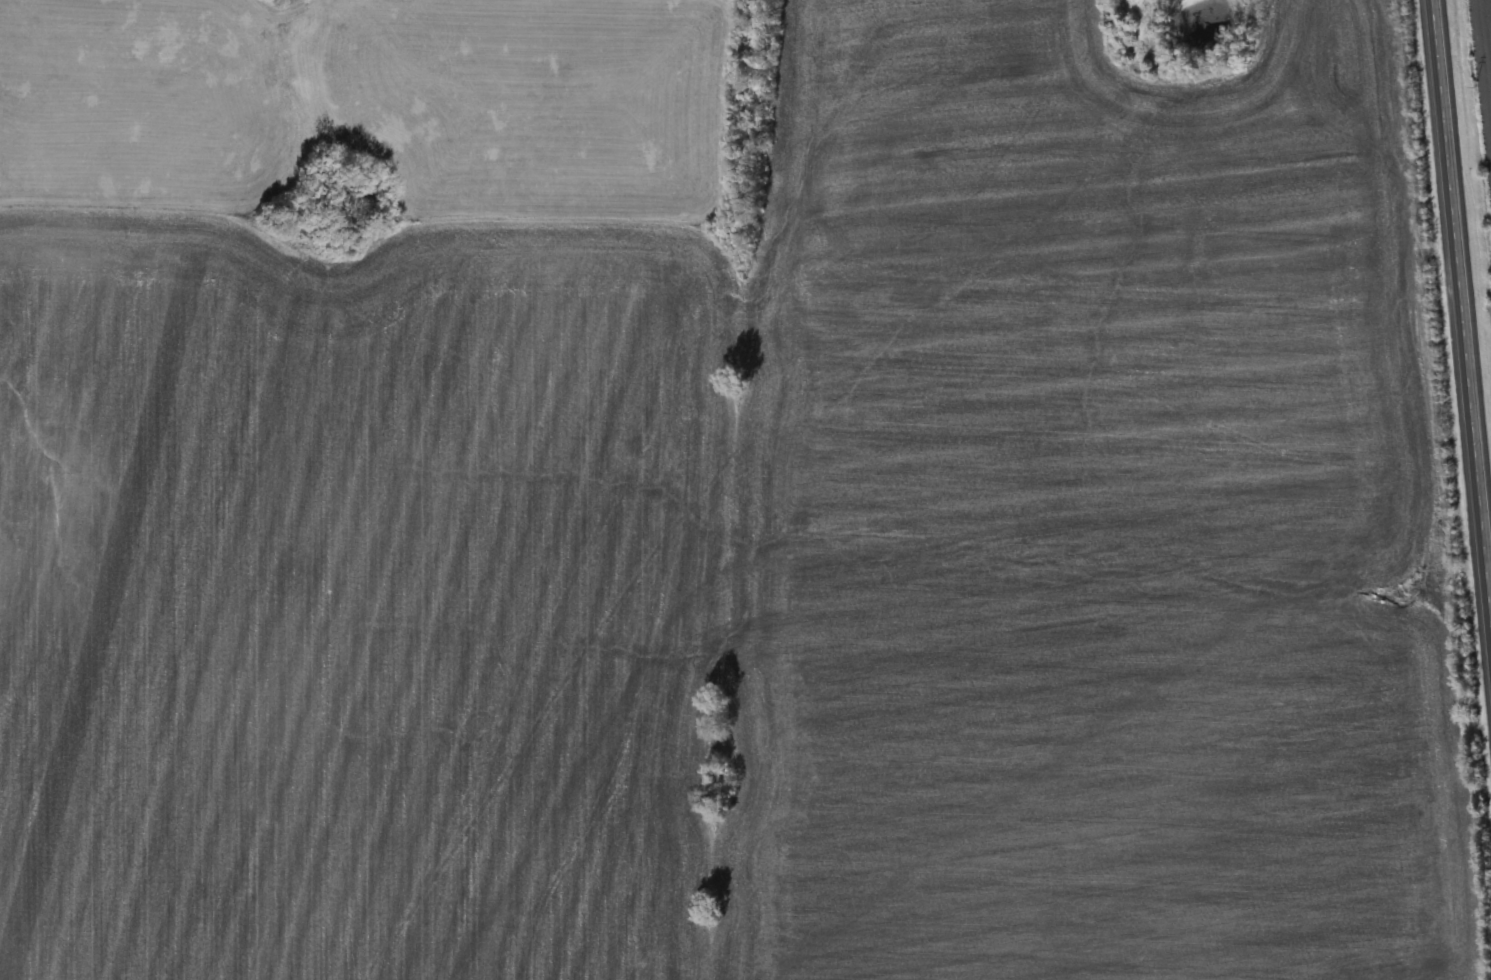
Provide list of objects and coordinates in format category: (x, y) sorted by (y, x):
road: (1461, 288)

